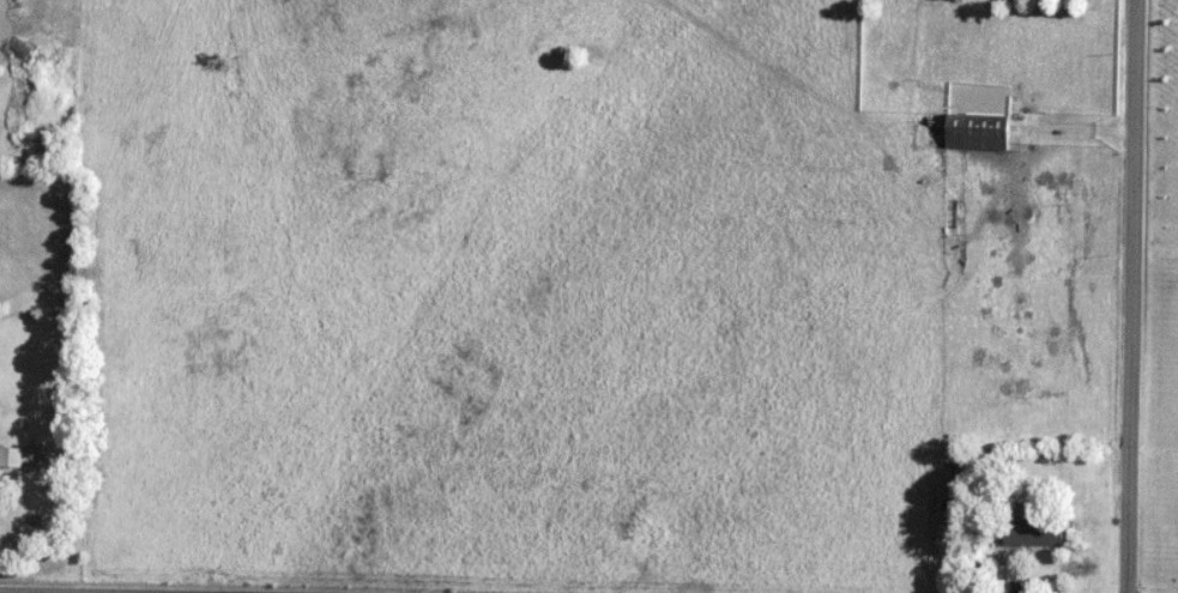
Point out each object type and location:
building: (979, 133)
road: (1130, 296)
building: (11, 458)
building: (1034, 532)

